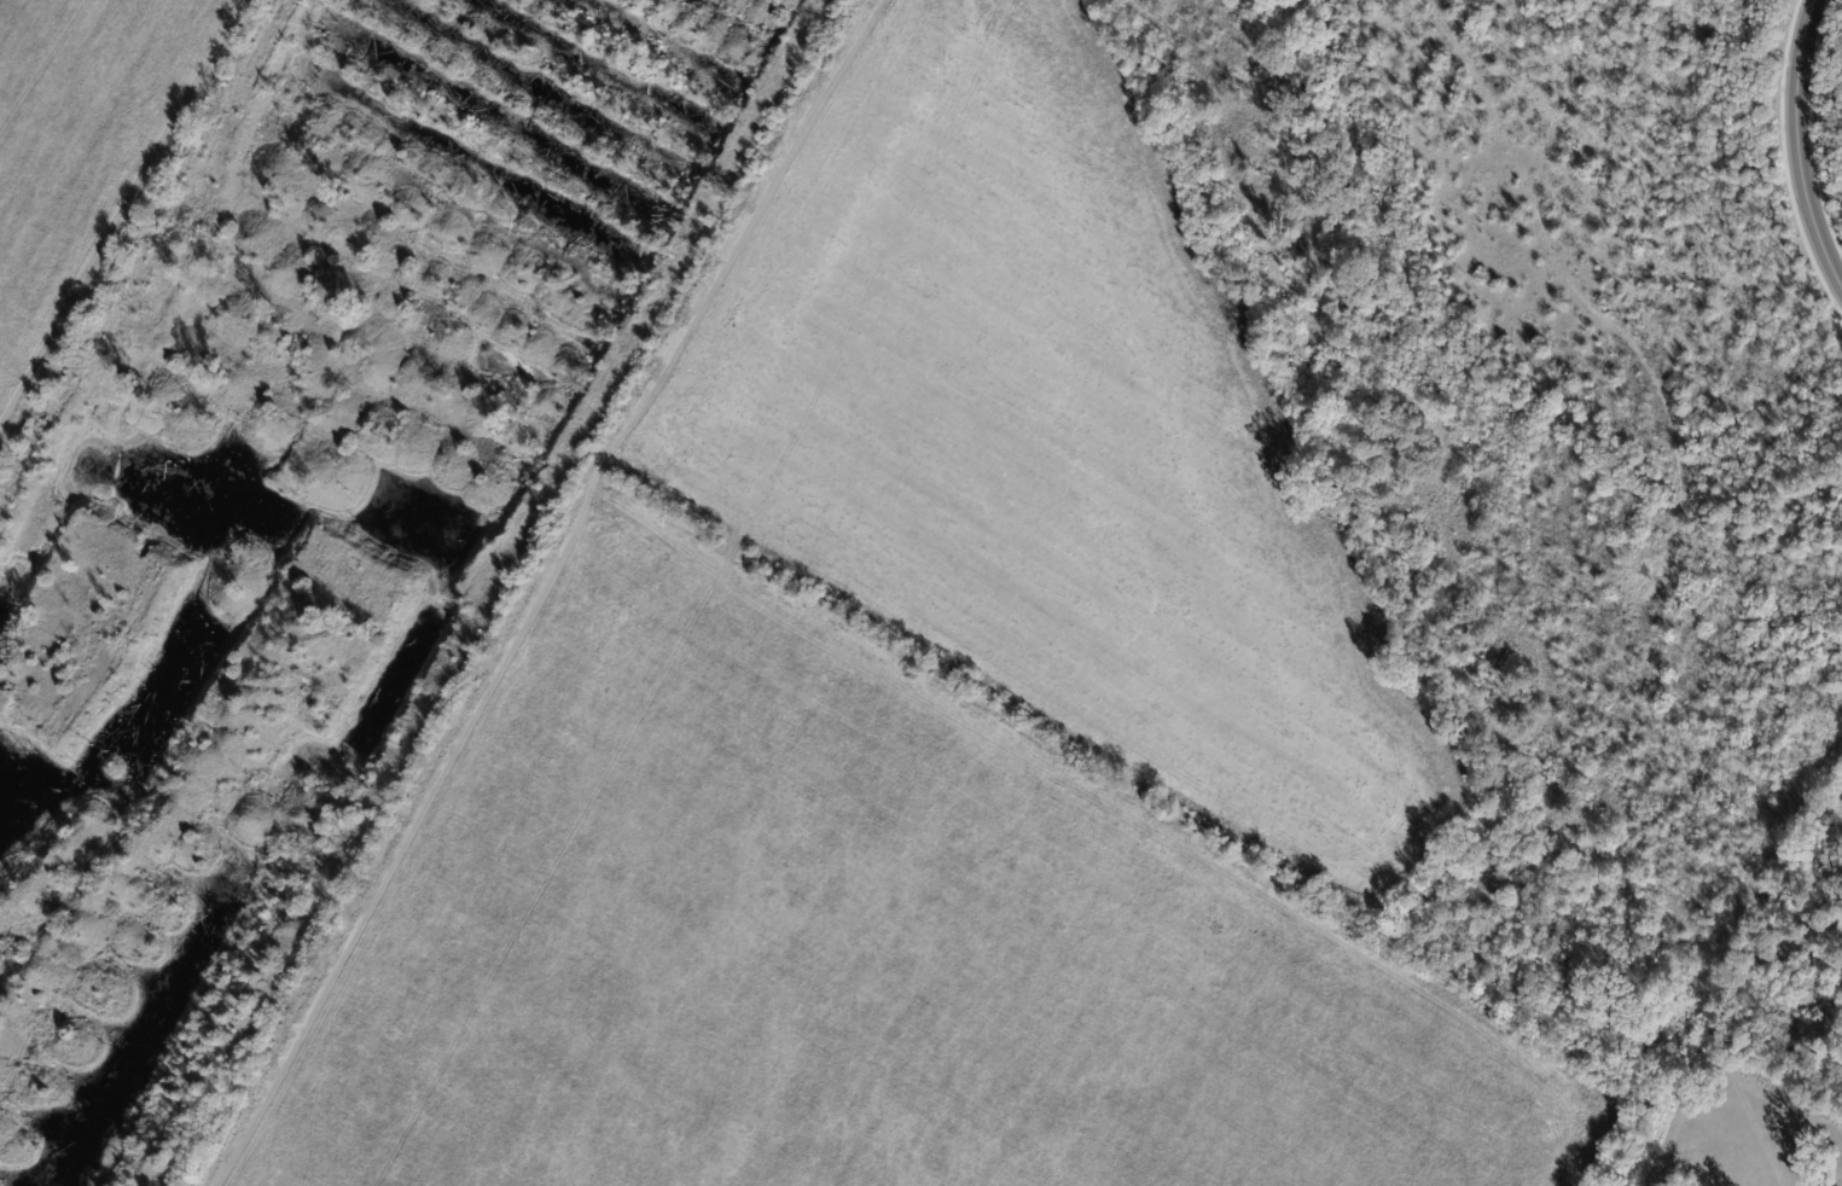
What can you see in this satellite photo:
road: (1797, 146)

